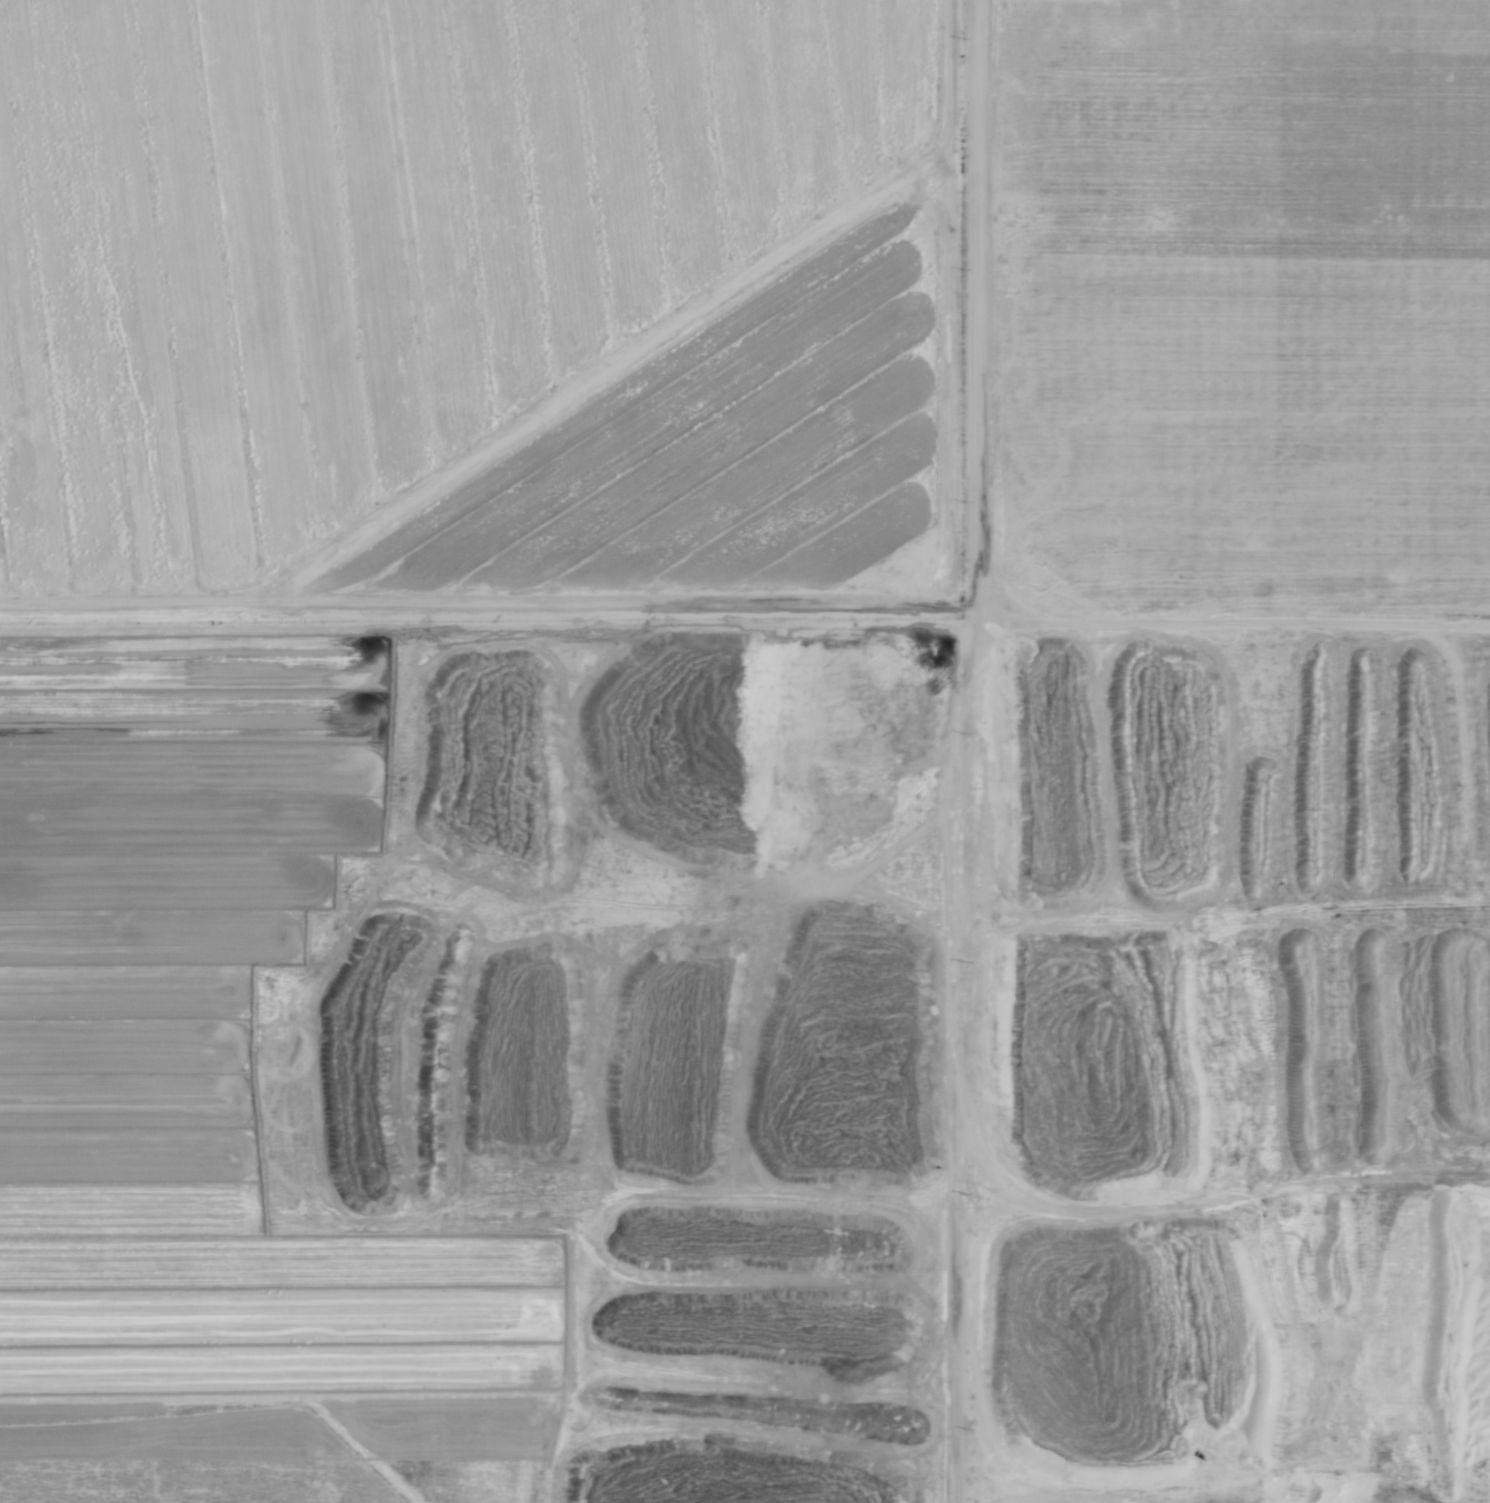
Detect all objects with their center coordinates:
road: (745, 610)

